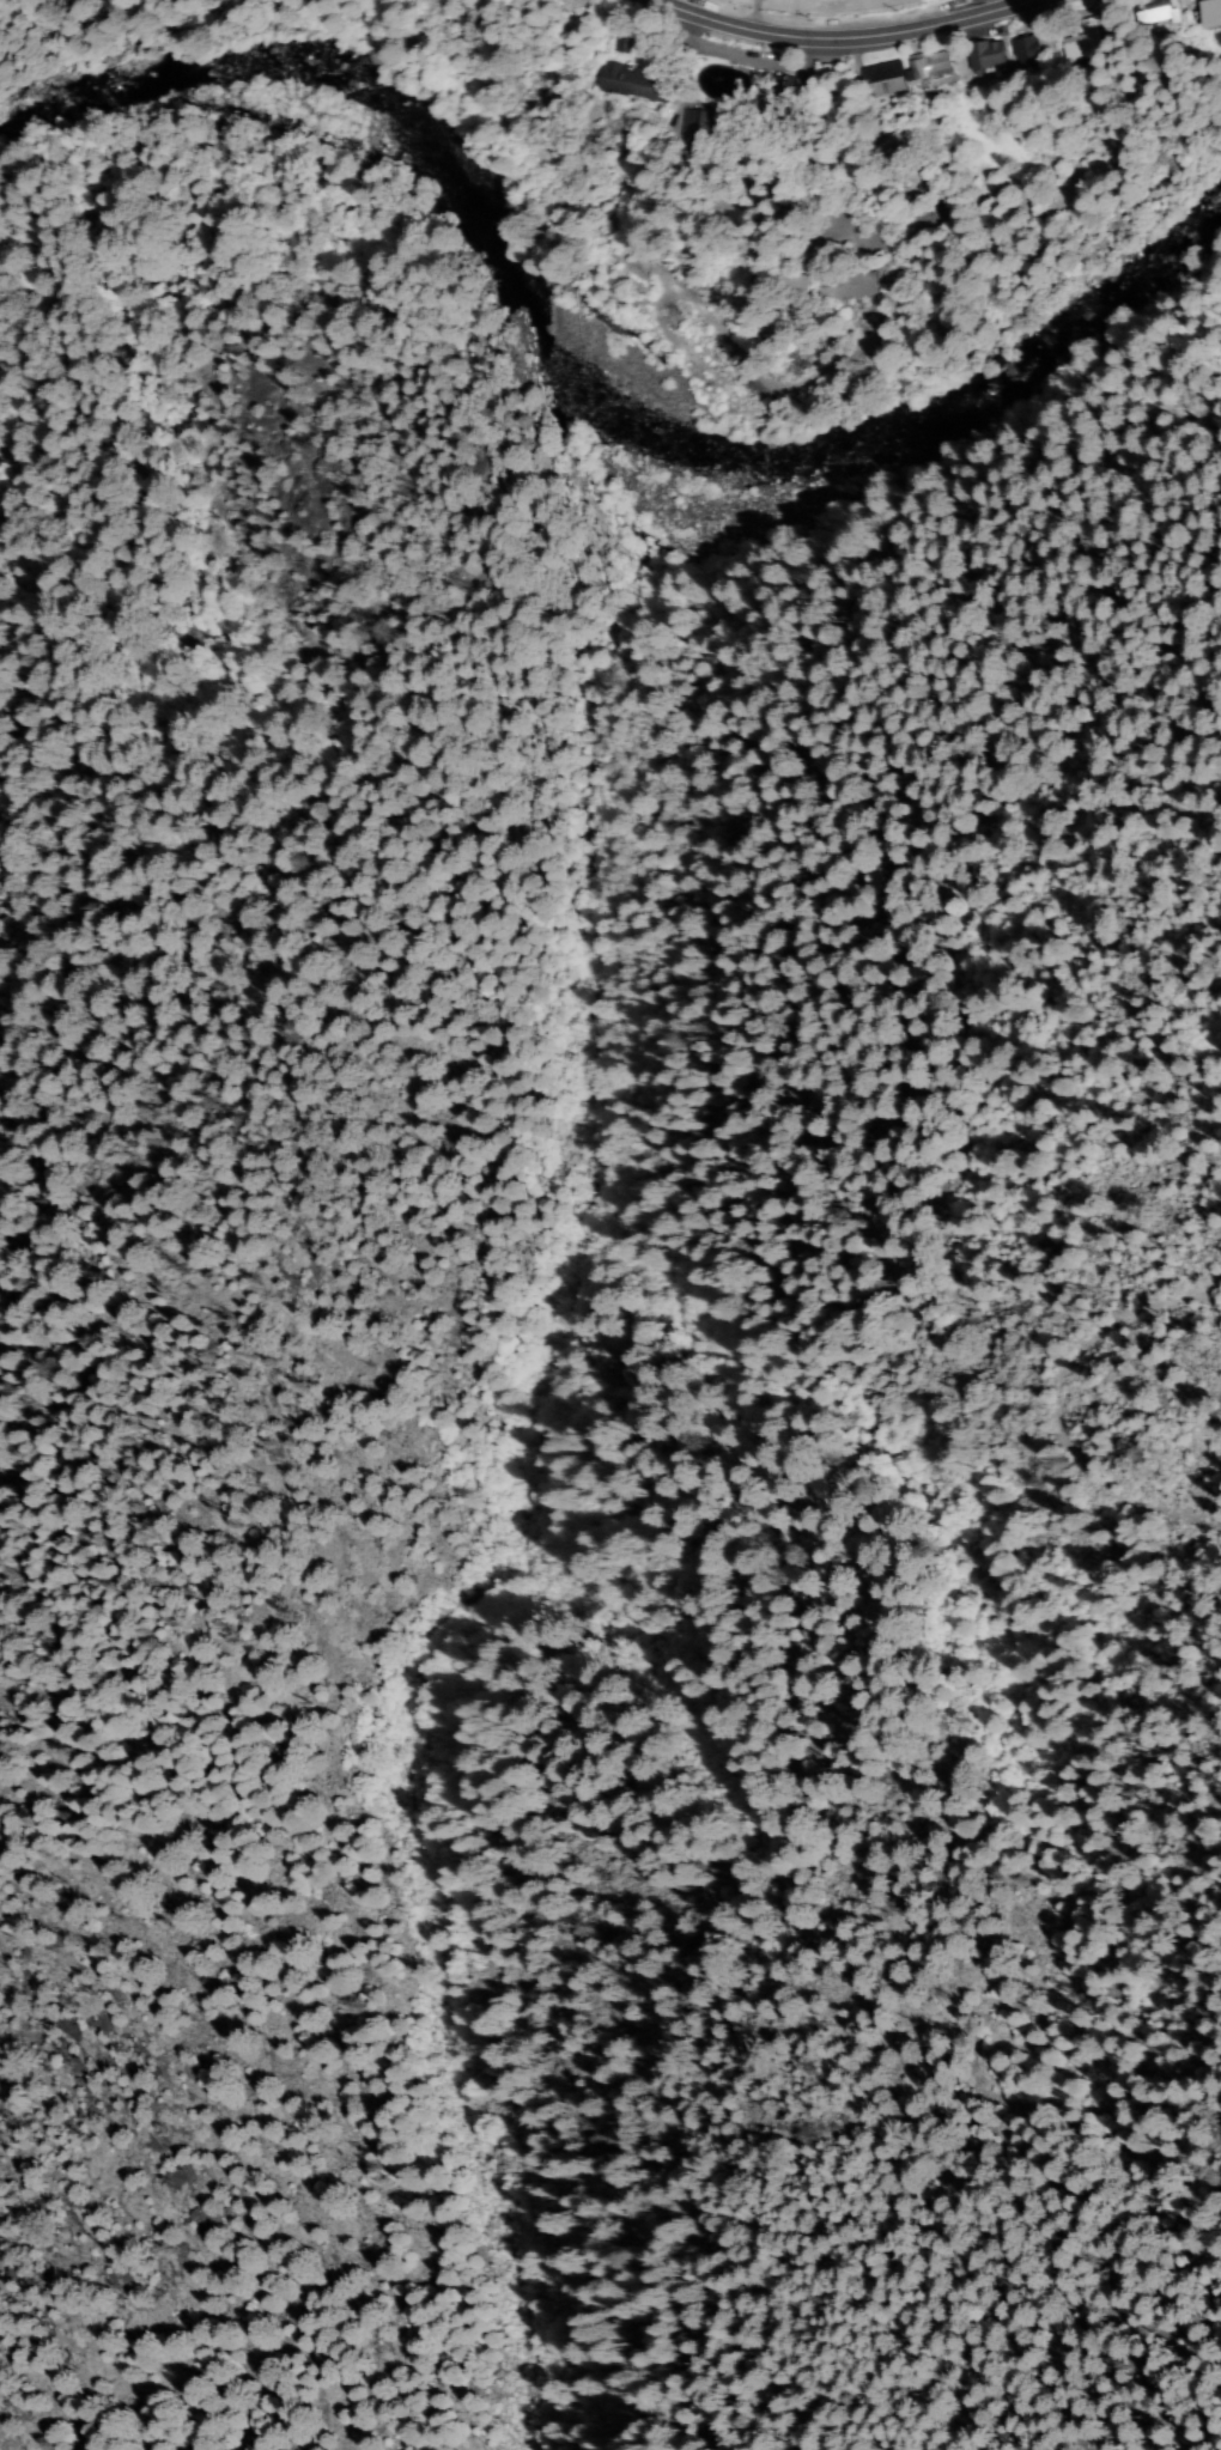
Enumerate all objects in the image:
building: (1149, 8)
building: (1214, 12)
road: (844, 34)
building: (1070, 39)
building: (1020, 48)
building: (1083, 50)
building: (983, 51)
road: (741, 57)
building: (928, 62)
building: (877, 77)
building: (626, 81)
building: (694, 118)
building: (838, 280)
river: (590, 361)

